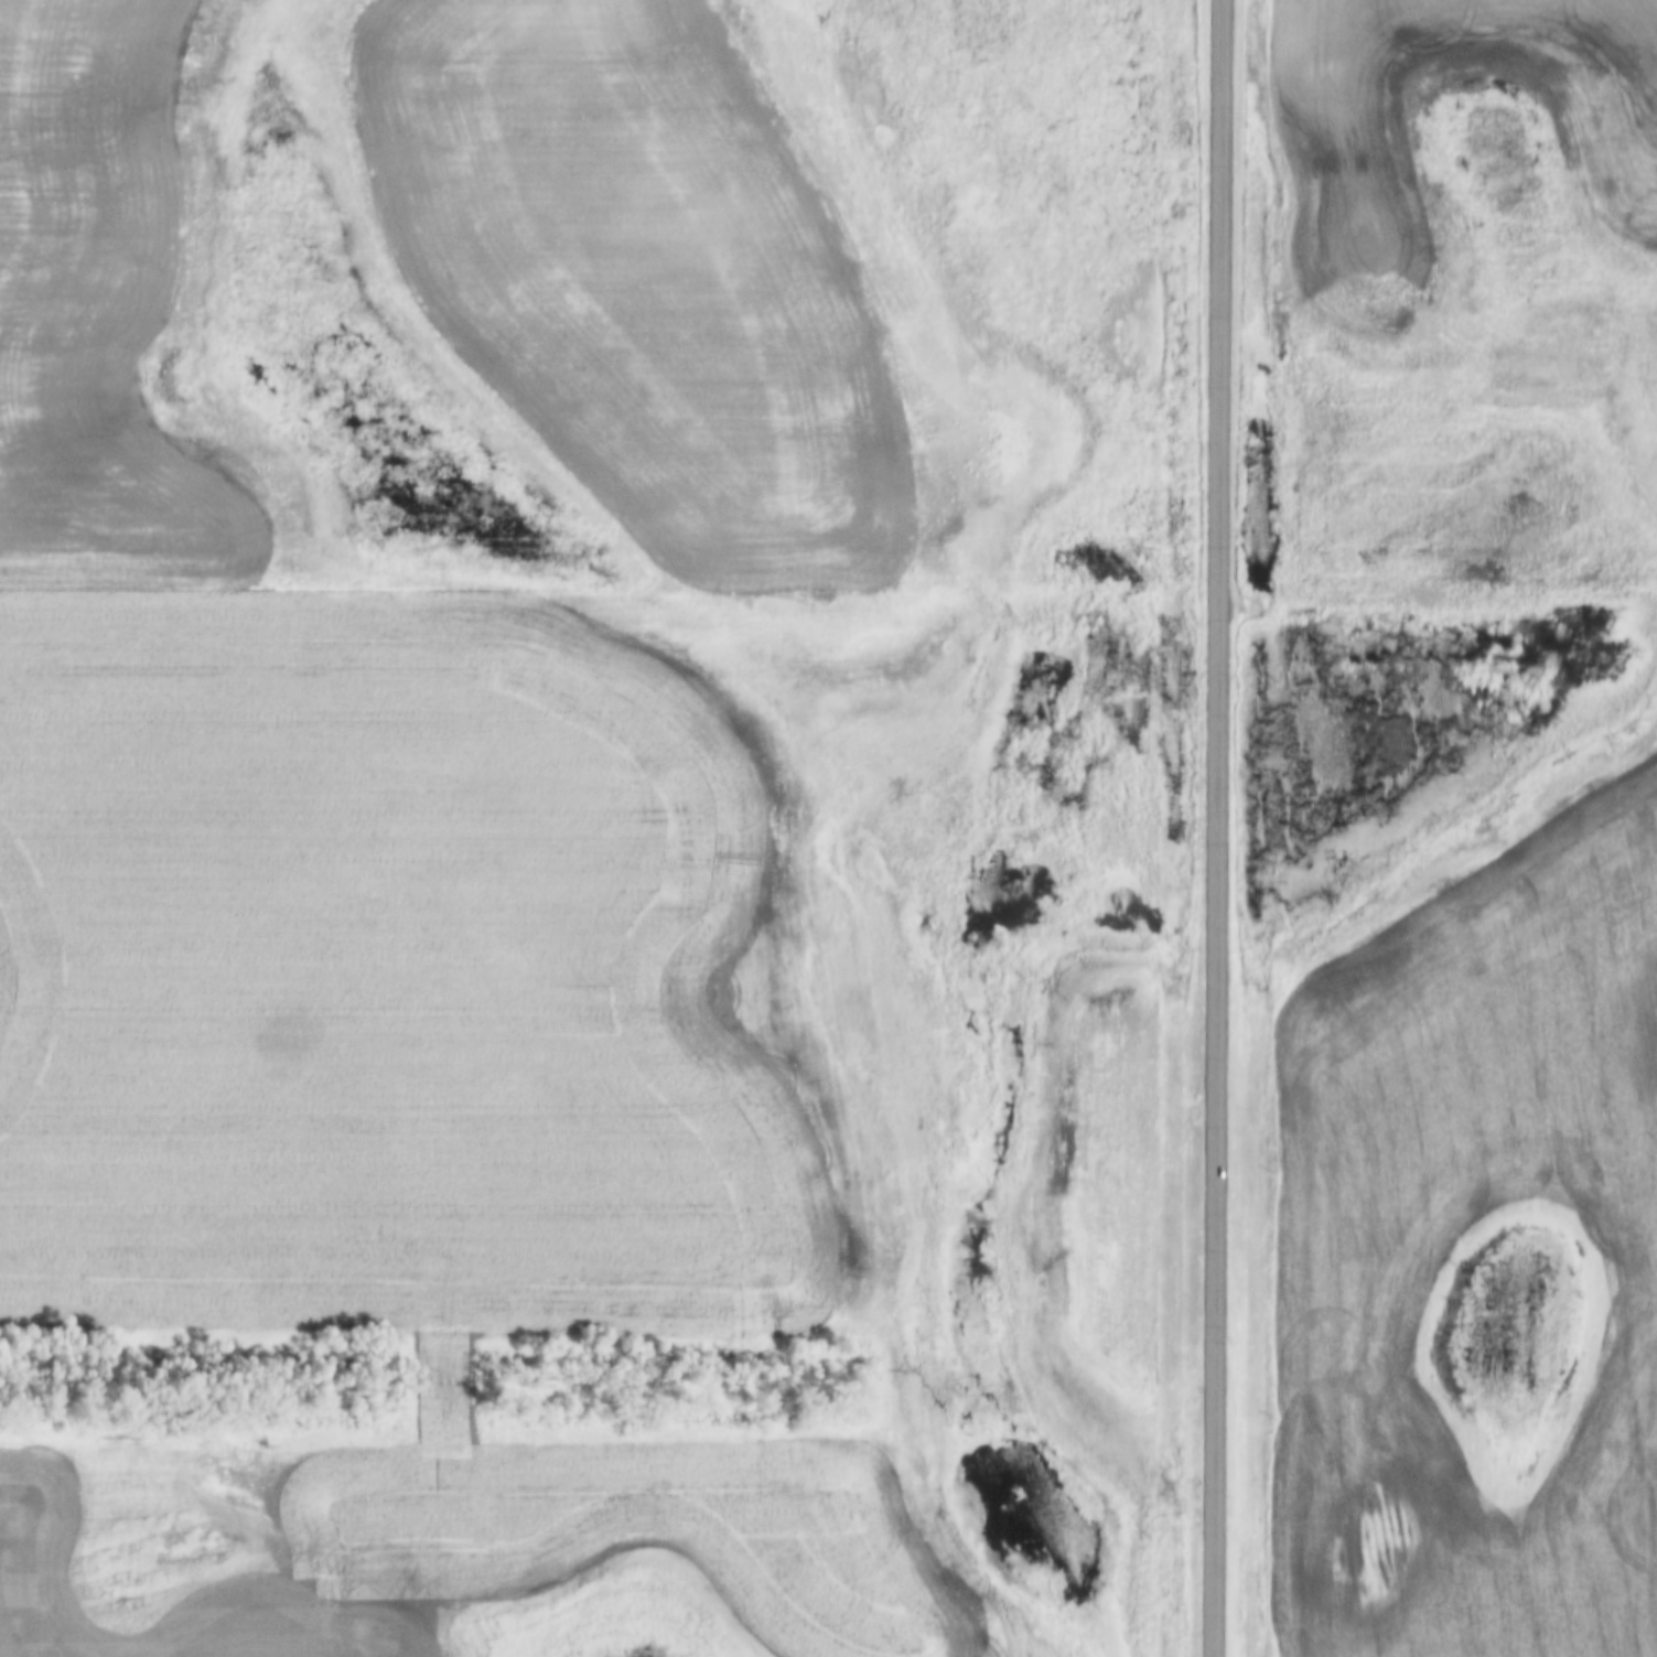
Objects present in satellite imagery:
road: (1214, 828)

